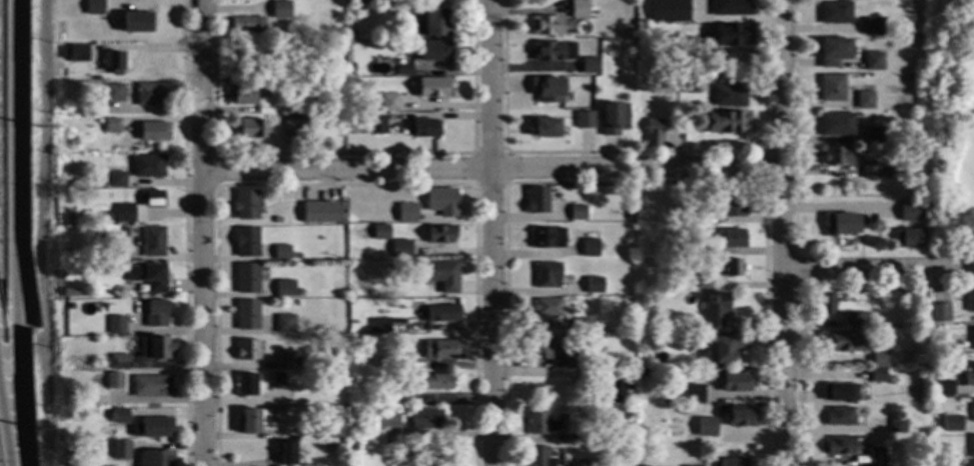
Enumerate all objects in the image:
building: (254, 1)
building: (358, 1)
building: (611, 5)
building: (93, 7)
building: (728, 8)
building: (280, 9)
building: (578, 9)
building: (682, 12)
building: (834, 13)
building: (136, 22)
building: (434, 22)
building: (246, 25)
building: (546, 26)
building: (872, 27)
building: (409, 28)
building: (347, 34)
building: (729, 35)
building: (287, 36)
building: (679, 44)
building: (656, 47)
building: (433, 51)
building: (546, 51)
building: (832, 52)
building: (77, 53)
building: (111, 62)
building: (872, 62)
building: (349, 67)
building: (587, 67)
building: (914, 67)
building: (403, 71)
building: (274, 82)
building: (685, 84)
building: (433, 87)
building: (913, 87)
building: (830, 88)
building: (546, 90)
building: (113, 93)
building: (150, 94)
building: (241, 95)
building: (728, 96)
building: (863, 100)
building: (389, 103)
building: (288, 108)
building: (585, 119)
building: (612, 119)
building: (723, 122)
building: (835, 124)
building: (376, 125)
road: (792, 125)
building: (111, 126)
power tower: (36, 127)
building: (291, 127)
building: (546, 127)
park: (950, 128)
building: (249, 129)
building: (423, 129)
building: (153, 131)
building: (652, 134)
building: (876, 136)
building: (71, 143)
building: (836, 156)
building: (724, 167)
building: (61, 169)
building: (137, 169)
building: (869, 171)
road: (491, 173)
building: (151, 199)
building: (536, 201)
building: (262, 202)
building: (440, 202)
building: (732, 202)
building: (245, 204)
building: (327, 212)
building: (910, 212)
building: (122, 213)
building: (406, 213)
building: (577, 213)
building: (694, 213)
road: (40, 219)
building: (276, 220)
building: (841, 224)
building: (124, 232)
road: (202, 232)
building: (380, 232)
road: (493, 232)
building: (669, 232)
road: (781, 232)
road: (17, 233)
building: (440, 234)
building: (546, 238)
building: (729, 238)
building: (906, 239)
building: (152, 242)
building: (245, 242)
building: (664, 245)
building: (589, 248)
building: (400, 249)
building: (281, 252)
building: (296, 256)
building: (399, 266)
building: (732, 267)
road: (793, 267)
road: (877, 270)
building: (439, 275)
building: (546, 276)
building: (147, 277)
building: (246, 279)
building: (702, 281)
building: (593, 286)
building: (284, 288)
building: (297, 292)
building: (68, 293)
building: (969, 302)
building: (823, 305)
building: (547, 308)
building: (713, 308)
building: (439, 313)
building: (939, 313)
building: (154, 314)
building: (246, 315)
building: (854, 319)
building: (283, 324)
building: (579, 324)
building: (115, 325)
building: (379, 325)
building: (699, 336)
building: (877, 337)
building: (911, 340)
building: (971, 340)
building: (841, 341)
building: (570, 342)
building: (646, 343)
building: (726, 347)
building: (155, 348)
building: (537, 348)
building: (245, 350)
building: (439, 350)
building: (950, 353)
building: (937, 354)
building: (878, 360)
building: (285, 361)
building: (117, 362)
building: (298, 362)
building: (376, 362)
building: (598, 373)
building: (643, 375)
road: (794, 375)
building: (876, 375)
building: (969, 377)
building: (113, 381)
building: (276, 381)
building: (434, 382)
building: (734, 382)
building: (245, 385)
building: (150, 386)
building: (943, 388)
building: (615, 392)
building: (838, 393)
building: (691, 394)
building: (405, 398)
building: (86, 400)
building: (340, 409)
building: (972, 411)
building: (623, 412)
building: (680, 412)
building: (68, 415)
building: (119, 416)
building: (739, 417)
building: (838, 417)
building: (81, 419)
building: (423, 419)
building: (251, 420)
building: (385, 420)
building: (543, 422)
building: (950, 423)
building: (329, 425)
building: (895, 426)
building: (705, 427)
building: (152, 428)
building: (676, 429)
power tower: (36, 431)
road: (5, 435)
building: (936, 441)
building: (327, 446)
building: (352, 446)
building: (837, 446)
building: (972, 447)
building: (120, 450)
building: (284, 453)
building: (407, 454)
building: (874, 456)
building: (536, 457)
building: (154, 458)
building: (952, 461)
building: (732, 462)
building: (584, 464)

